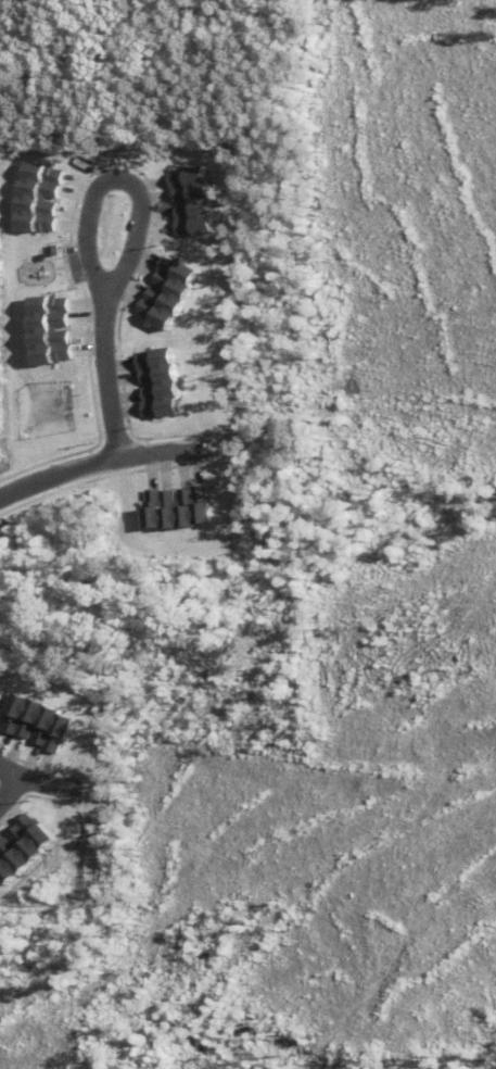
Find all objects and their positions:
road: (112, 181)
road: (107, 435)
road: (25, 784)
road: (7, 788)

